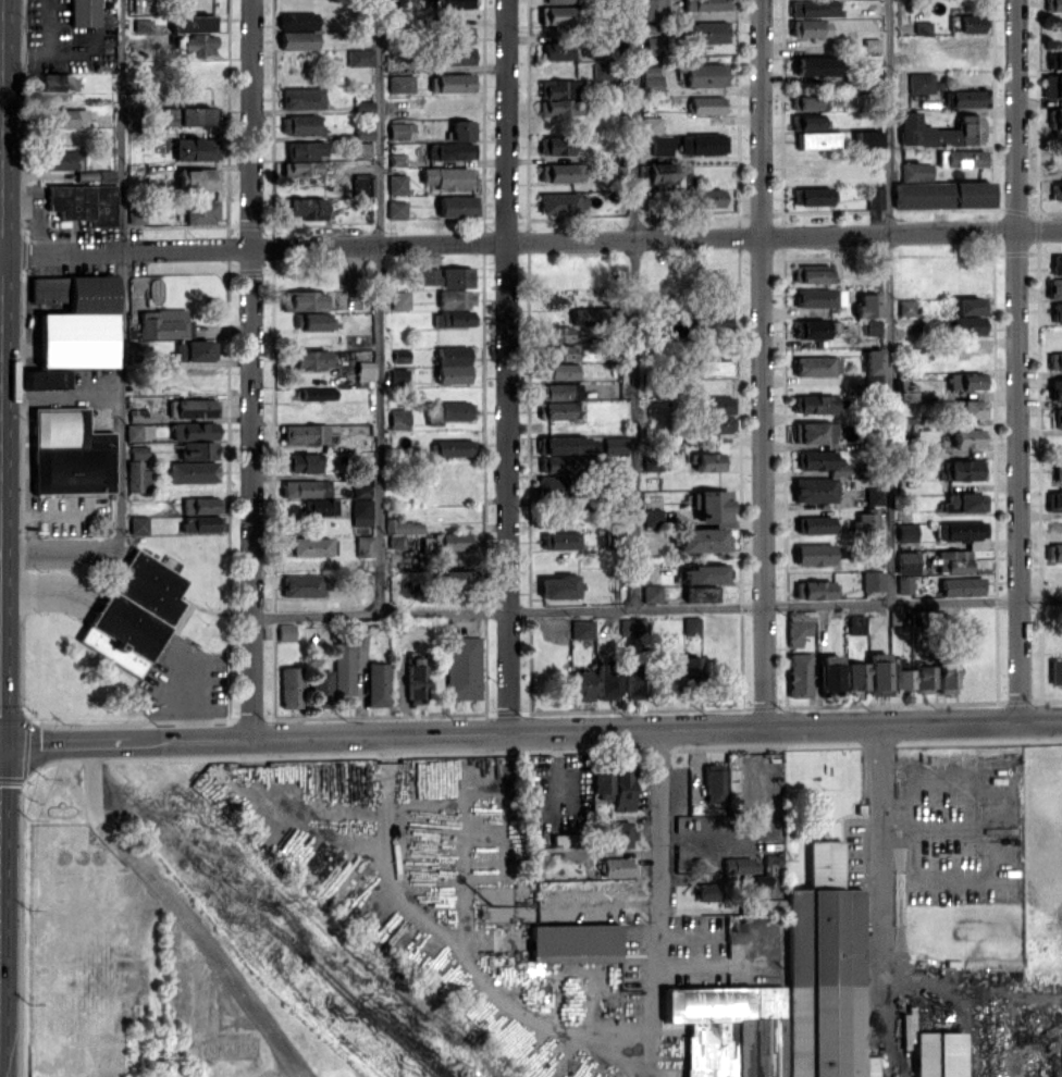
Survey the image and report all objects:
building: (559, 1)
building: (453, 3)
building: (708, 4)
building: (143, 5)
building: (1055, 5)
building: (652, 9)
building: (814, 9)
building: (84, 12)
building: (558, 14)
building: (301, 21)
building: (193, 22)
building: (965, 23)
building: (143, 25)
building: (922, 26)
building: (810, 27)
building: (703, 32)
building: (460, 34)
building: (297, 39)
building: (194, 44)
building: (653, 45)
building: (557, 50)
building: (454, 55)
building: (359, 57)
building: (1054, 59)
building: (815, 65)
building: (705, 74)
building: (651, 78)
building: (57, 82)
building: (450, 82)
building: (399, 83)
building: (919, 83)
building: (1052, 86)
building: (558, 87)
building: (301, 98)
building: (964, 98)
building: (808, 101)
building: (706, 104)
building: (362, 107)
building: (558, 107)
building: (181, 115)
building: (65, 117)
building: (1057, 122)
building: (808, 123)
building: (651, 124)
building: (400, 129)
building: (462, 129)
building: (939, 131)
building: (363, 134)
building: (866, 138)
building: (818, 139)
building: (702, 144)
building: (660, 145)
building: (552, 147)
building: (195, 148)
building: (305, 149)
building: (361, 149)
building: (450, 150)
building: (961, 158)
building: (59, 159)
building: (300, 168)
building: (915, 170)
building: (559, 172)
building: (662, 172)
building: (104, 174)
building: (446, 177)
building: (198, 178)
building: (396, 184)
building: (362, 186)
building: (1055, 190)
building: (942, 194)
building: (813, 196)
building: (704, 197)
building: (874, 197)
building: (83, 202)
building: (561, 202)
building: (457, 206)
building: (304, 208)
building: (396, 209)
building: (200, 211)
building: (135, 215)
road: (531, 242)
building: (1057, 263)
road: (120, 265)
building: (811, 273)
building: (446, 276)
building: (1054, 288)
building: (818, 297)
building: (455, 298)
building: (399, 299)
building: (301, 300)
road: (889, 301)
road: (631, 305)
building: (866, 305)
building: (968, 305)
road: (379, 307)
building: (904, 307)
building: (1057, 312)
building: (591, 314)
building: (452, 318)
building: (311, 320)
building: (74, 321)
building: (718, 322)
building: (162, 323)
building: (966, 324)
building: (870, 326)
building: (814, 329)
building: (556, 333)
building: (195, 350)
building: (559, 351)
building: (399, 356)
building: (308, 358)
building: (872, 360)
building: (1054, 360)
road: (1017, 361)
road: (762, 363)
building: (452, 364)
road: (505, 366)
building: (815, 366)
building: (713, 368)
road: (250, 369)
building: (559, 370)
building: (363, 373)
building: (397, 376)
building: (44, 379)
building: (965, 381)
building: (1054, 389)
building: (904, 391)
building: (314, 393)
road: (60, 395)
building: (717, 404)
building: (813, 404)
building: (193, 407)
building: (968, 408)
building: (555, 409)
building: (448, 411)
building: (397, 418)
building: (709, 424)
building: (192, 431)
building: (137, 432)
building: (814, 432)
building: (304, 433)
building: (966, 437)
building: (614, 444)
building: (561, 445)
building: (450, 447)
building: (197, 449)
building: (67, 453)
building: (300, 461)
building: (706, 461)
building: (819, 461)
building: (652, 462)
building: (552, 463)
building: (962, 469)
building: (190, 471)
building: (1058, 472)
building: (136, 476)
building: (554, 485)
building: (305, 487)
building: (813, 490)
building: (360, 491)
building: (874, 495)
building: (1053, 500)
building: (963, 503)
building: (199, 505)
building: (711, 505)
building: (319, 507)
building: (360, 511)
building: (650, 517)
building: (199, 523)
building: (813, 523)
building: (865, 523)
building: (137, 524)
building: (403, 527)
building: (905, 532)
building: (961, 532)
building: (701, 538)
building: (558, 540)
building: (447, 541)
building: (397, 542)
building: (362, 545)
building: (305, 546)
road: (66, 550)
building: (1053, 553)
building: (817, 554)
building: (951, 560)
building: (905, 561)
building: (703, 573)
building: (453, 579)
building: (872, 580)
building: (903, 583)
building: (300, 584)
building: (960, 585)
building: (558, 586)
building: (814, 590)
building: (650, 593)
building: (701, 593)
road: (785, 606)
building: (133, 612)
road: (378, 614)
building: (855, 623)
building: (690, 624)
building: (630, 626)
building: (798, 626)
building: (581, 628)
building: (284, 631)
building: (461, 667)
building: (689, 668)
building: (1055, 671)
building: (342, 672)
building: (828, 672)
building: (944, 672)
building: (876, 673)
building: (796, 674)
building: (900, 674)
building: (854, 676)
building: (923, 677)
building: (632, 679)
building: (413, 680)
building: (604, 682)
building: (376, 684)
building: (580, 685)
building: (288, 686)
building: (320, 689)
road: (530, 732)
road: (90, 781)
building: (712, 782)
building: (600, 784)
building: (621, 789)
building: (620, 833)
building: (559, 838)
road: (660, 840)
building: (743, 864)
building: (616, 867)
building: (765, 869)
building: (706, 891)
road: (884, 937)
building: (572, 939)
road: (206, 942)
building: (825, 973)
building: (606, 982)
building: (728, 1029)
building: (937, 1054)

